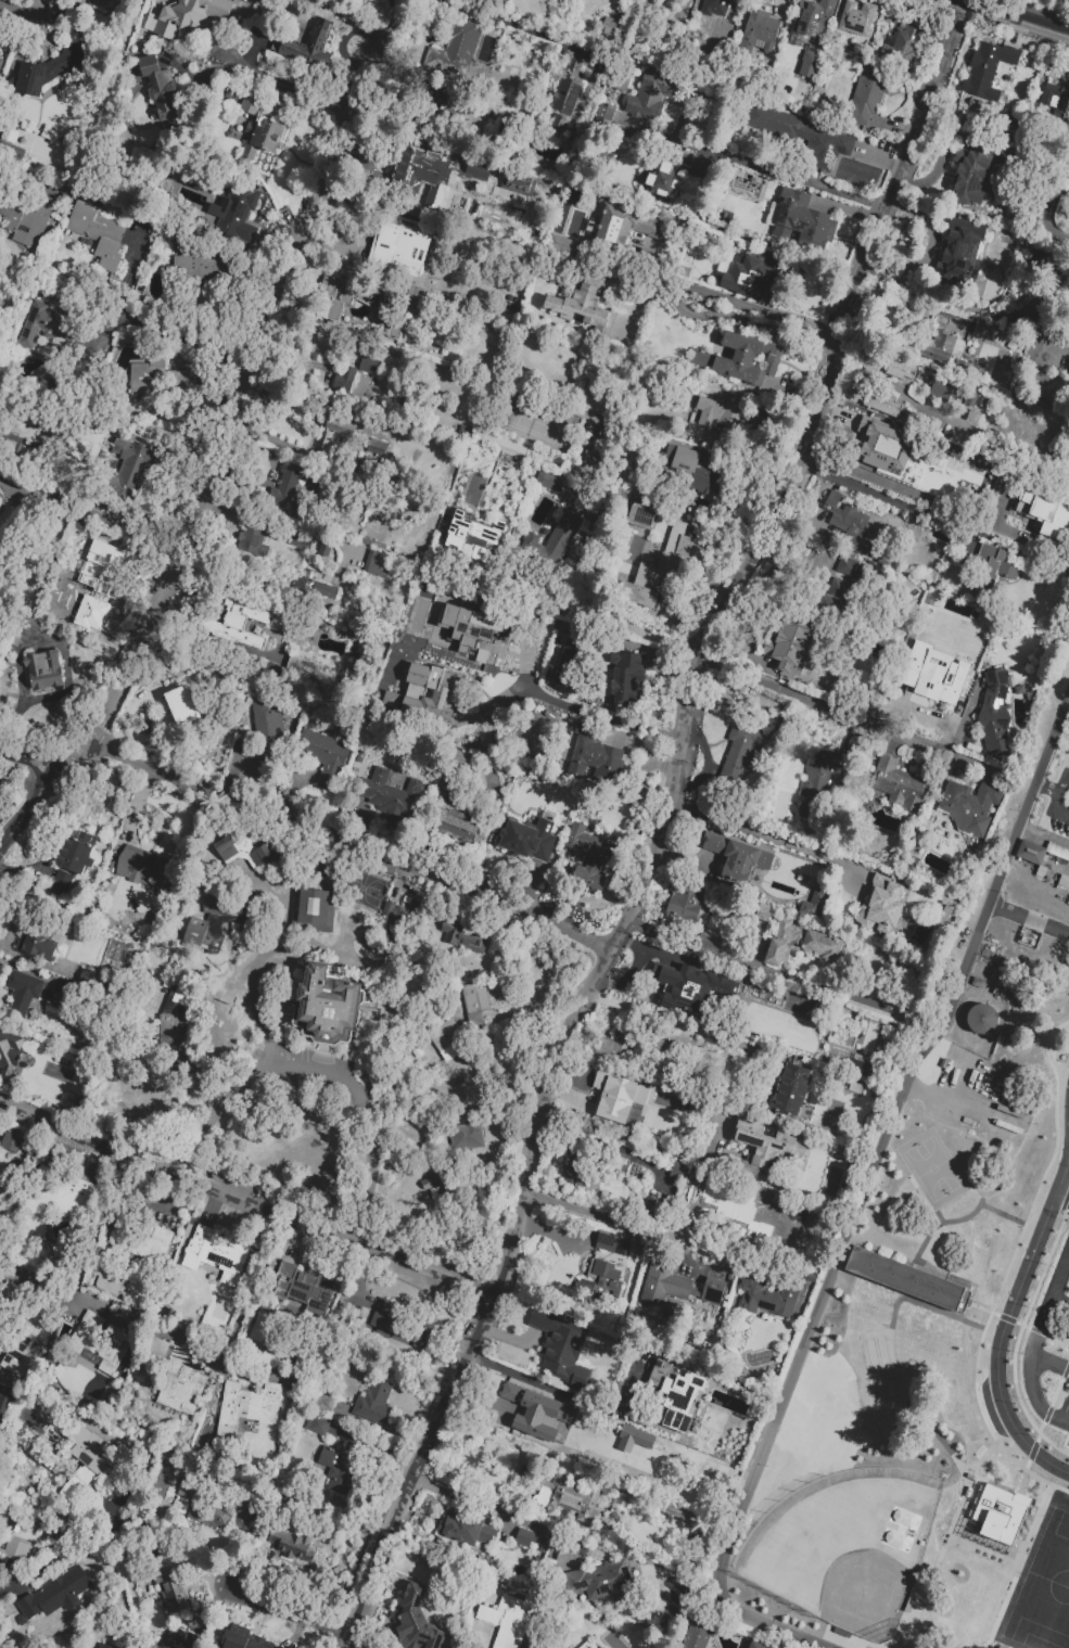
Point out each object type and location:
building: (100, 0)
building: (714, 7)
road: (15, 9)
building: (186, 15)
road: (1019, 15)
building: (812, 17)
building: (856, 18)
building: (609, 26)
building: (756, 31)
building: (905, 42)
building: (307, 46)
building: (453, 50)
building: (0, 61)
building: (810, 63)
building: (50, 68)
building: (987, 68)
road: (287, 76)
building: (161, 88)
building: (650, 94)
building: (865, 94)
building: (565, 98)
building: (438, 100)
building: (1055, 100)
building: (252, 102)
building: (601, 117)
building: (799, 133)
building: (263, 139)
road: (1038, 145)
building: (976, 169)
road: (787, 177)
building: (424, 181)
building: (670, 181)
building: (746, 184)
building: (239, 212)
building: (29, 219)
building: (800, 219)
building: (623, 226)
building: (97, 231)
building: (395, 242)
building: (561, 244)
building: (960, 252)
building: (198, 267)
building: (752, 276)
building: (353, 296)
building: (411, 296)
road: (905, 305)
building: (582, 307)
road: (969, 307)
road: (728, 317)
road: (148, 322)
building: (43, 323)
building: (395, 328)
building: (988, 332)
building: (942, 346)
building: (92, 350)
building: (740, 358)
building: (370, 366)
road: (300, 368)
building: (901, 368)
building: (158, 375)
building: (343, 380)
building: (938, 387)
building: (883, 404)
building: (717, 413)
building: (332, 432)
road: (215, 440)
building: (378, 446)
building: (883, 446)
building: (130, 468)
building: (695, 470)
building: (942, 475)
building: (549, 480)
building: (294, 484)
building: (476, 491)
road: (886, 497)
building: (1042, 512)
building: (641, 514)
building: (843, 516)
building: (459, 529)
building: (253, 540)
building: (301, 540)
building: (553, 540)
building: (324, 549)
building: (380, 565)
building: (662, 565)
building: (990, 569)
building: (96, 585)
building: (315, 586)
building: (839, 595)
road: (581, 611)
building: (244, 623)
road: (213, 638)
building: (790, 648)
building: (484, 659)
building: (567, 662)
building: (304, 666)
building: (43, 669)
building: (934, 673)
building: (626, 676)
building: (417, 677)
building: (389, 699)
building: (181, 703)
building: (994, 713)
road: (601, 716)
road: (848, 717)
building: (267, 727)
building: (739, 752)
building: (324, 756)
building: (598, 761)
road: (28, 762)
building: (1061, 776)
building: (818, 782)
building: (896, 783)
road: (1047, 788)
building: (390, 793)
road: (1057, 799)
building: (969, 805)
building: (456, 820)
road: (664, 827)
road: (1046, 830)
road: (764, 838)
building: (526, 839)
building: (243, 851)
road: (351, 851)
building: (1058, 852)
building: (77, 853)
building: (1032, 854)
building: (736, 856)
building: (585, 857)
building: (143, 867)
building: (1045, 874)
building: (60, 882)
building: (1064, 883)
building: (686, 895)
building: (814, 904)
building: (881, 905)
building: (314, 908)
road: (1029, 918)
building: (217, 920)
building: (397, 922)
building: (461, 935)
road: (662, 935)
building: (709, 942)
building: (798, 942)
building: (37, 944)
road: (739, 960)
building: (980, 984)
building: (688, 986)
building: (1002, 988)
building: (21, 991)
building: (188, 996)
building: (475, 1001)
building: (328, 1005)
building: (773, 1021)
building: (983, 1021)
road: (675, 1022)
building: (169, 1031)
building: (959, 1033)
building: (447, 1037)
building: (614, 1048)
building: (9, 1051)
road: (321, 1072)
building: (790, 1089)
building: (616, 1098)
road: (602, 1128)
building: (463, 1135)
building: (9, 1141)
road: (602, 1142)
building: (764, 1147)
road: (881, 1149)
road: (696, 1150)
building: (612, 1166)
building: (677, 1170)
building: (433, 1180)
road: (1062, 1196)
building: (71, 1197)
building: (720, 1201)
road: (246, 1202)
road: (616, 1221)
road: (93, 1230)
building: (137, 1232)
building: (610, 1242)
road: (1068, 1252)
building: (218, 1255)
building: (599, 1280)
building: (664, 1281)
building: (908, 1282)
road: (246, 1290)
building: (302, 1290)
building: (712, 1290)
building: (764, 1293)
building: (7, 1296)
road: (1048, 1301)
road: (1058, 1305)
road: (1005, 1321)
building: (398, 1325)
building: (24, 1341)
building: (101, 1341)
building: (561, 1347)
building: (177, 1377)
road: (1028, 1377)
building: (676, 1385)
road: (561, 1392)
building: (373, 1400)
building: (3, 1404)
building: (247, 1407)
building: (548, 1411)
building: (314, 1423)
building: (639, 1438)
building: (97, 1458)
building: (344, 1466)
building: (565, 1495)
road: (498, 1508)
building: (217, 1513)
building: (994, 1513)
building: (466, 1529)
building: (527, 1537)
building: (293, 1542)
building: (15, 1548)
road: (56, 1554)
building: (599, 1580)
building: (171, 1589)
building: (54, 1594)
road: (290, 1615)
building: (507, 1620)
building: (413, 1621)
road: (775, 1626)
building: (701, 1635)
building: (243, 1638)
building: (587, 1645)
building: (103, 1646)
building: (758, 1646)
building: (178, 1647)
road: (346, 1647)

